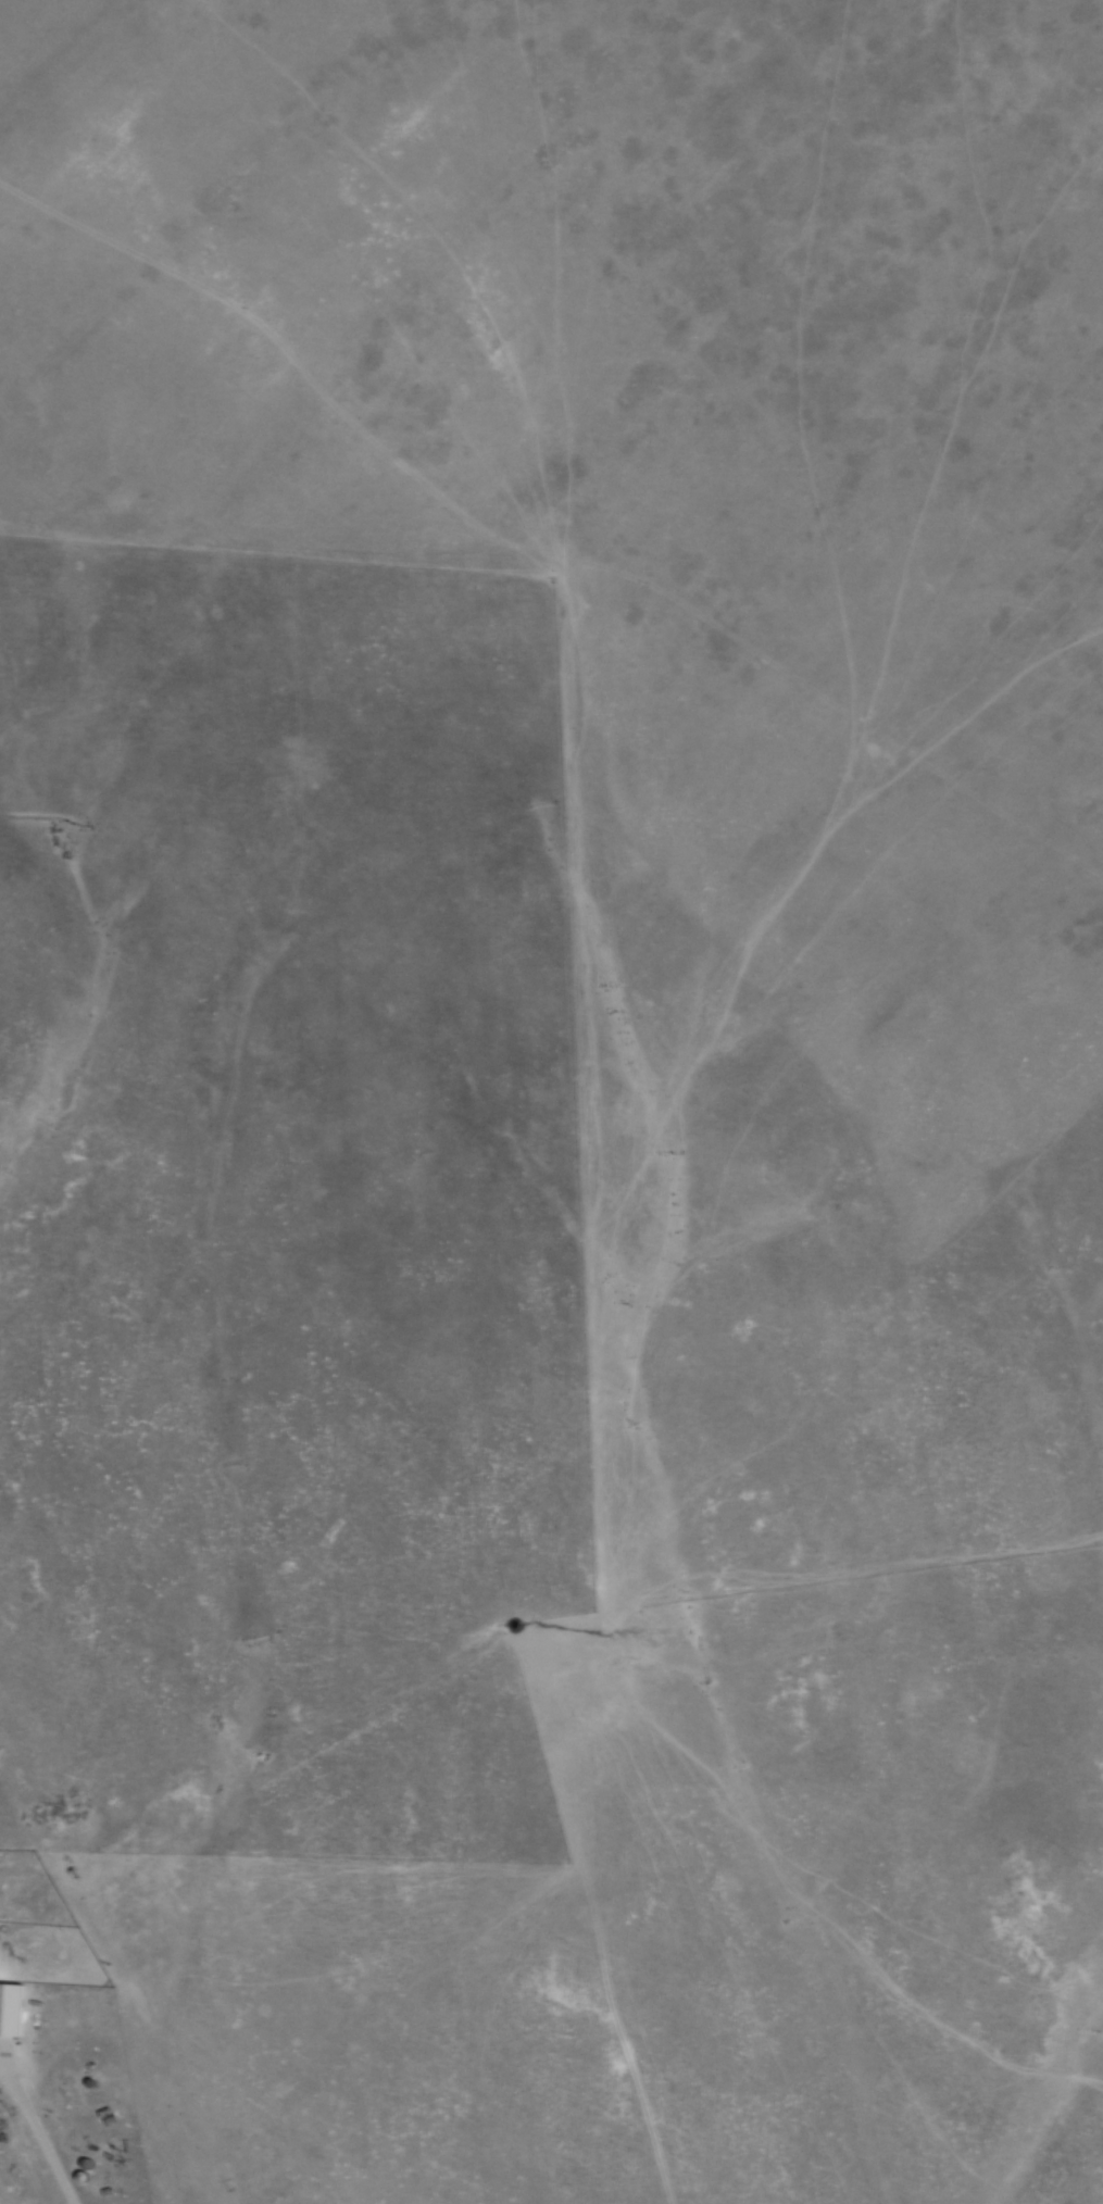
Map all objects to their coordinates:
building: (14, 2007)

